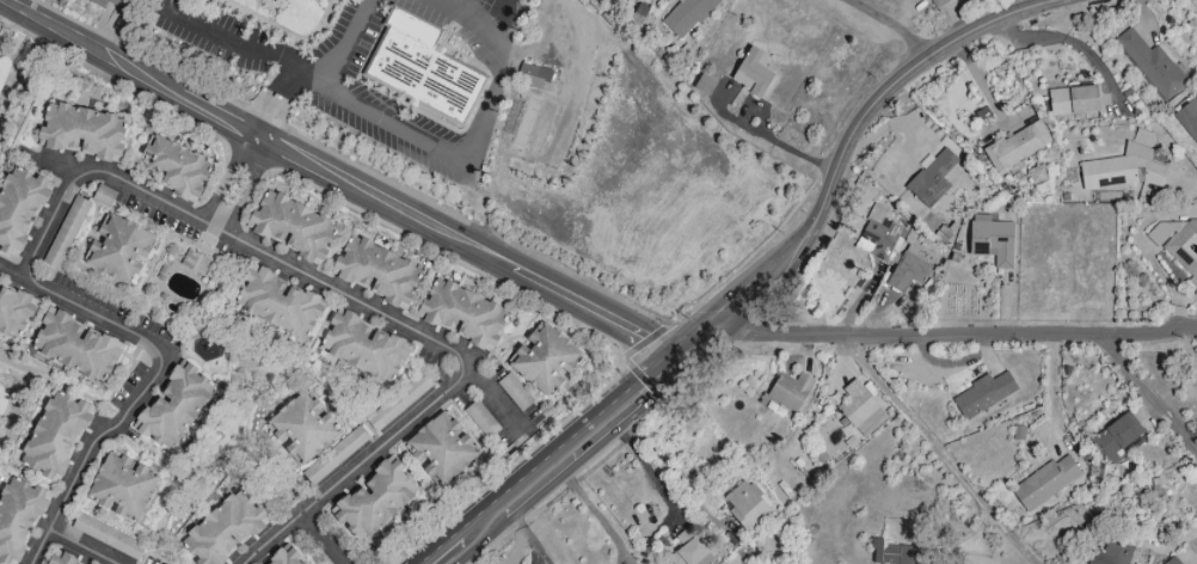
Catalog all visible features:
building: (108, 2)
building: (935, 2)
building: (686, 16)
road: (897, 27)
road: (349, 33)
road: (1068, 37)
road: (263, 54)
road: (12, 66)
building: (1152, 66)
building: (423, 68)
road: (130, 69)
road: (317, 69)
building: (754, 73)
park: (19, 84)
building: (704, 85)
road: (124, 88)
building: (1073, 100)
building: (1189, 118)
building: (82, 131)
building: (1017, 146)
road: (781, 147)
road: (845, 148)
road: (460, 160)
road: (350, 164)
building: (178, 167)
building: (1122, 170)
building: (933, 178)
road: (1183, 182)
road: (237, 184)
building: (103, 195)
building: (19, 208)
building: (291, 227)
building: (66, 232)
building: (882, 234)
building: (992, 240)
road: (469, 246)
building: (1185, 247)
building: (118, 250)
building: (195, 262)
building: (376, 271)
building: (908, 271)
road: (350, 301)
building: (276, 302)
building: (14, 309)
building: (462, 314)
road: (1149, 332)
road: (978, 336)
building: (75, 347)
building: (363, 347)
building: (544, 360)
road: (626, 361)
traffic signals: (676, 361)
road: (63, 387)
road: (149, 387)
building: (790, 391)
building: (514, 392)
road: (490, 393)
building: (983, 394)
park: (18, 396)
building: (398, 401)
building: (857, 404)
building: (174, 406)
building: (481, 419)
building: (302, 428)
building: (56, 435)
road: (570, 435)
building: (1117, 437)
road: (597, 447)
building: (441, 448)
road: (941, 452)
building: (334, 455)
road: (514, 464)
building: (1045, 483)
building: (122, 486)
building: (375, 501)
building: (747, 504)
building: (18, 517)
building: (223, 528)
building: (108, 537)
road: (324, 540)
road: (444, 541)
road: (484, 544)
road: (461, 545)
road: (80, 548)
building: (688, 548)
building: (891, 553)
building: (1113, 553)
building: (283, 557)
building: (53, 562)
building: (1175, 562)
building: (301, 563)

